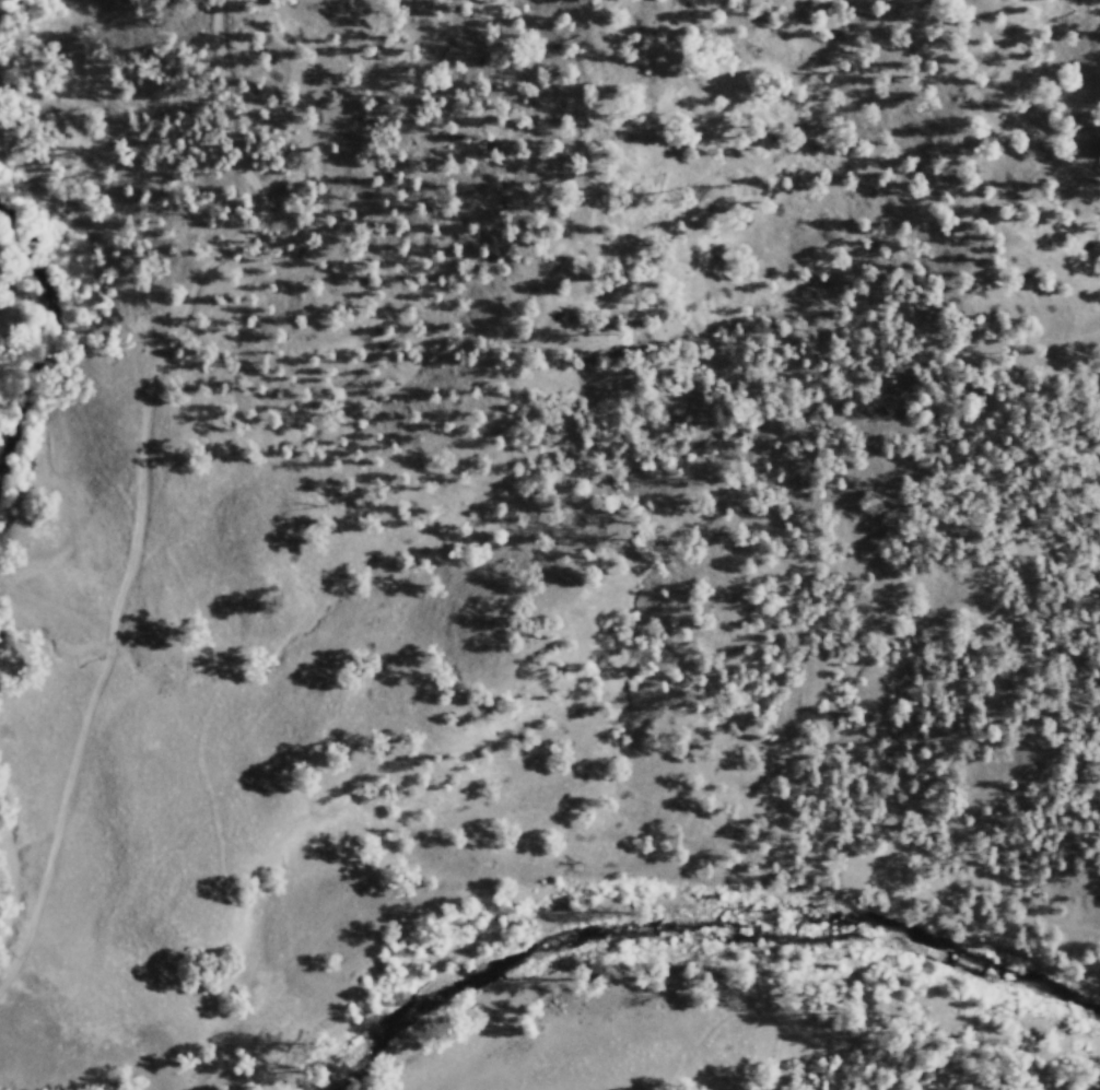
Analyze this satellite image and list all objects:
road: (149, 479)

